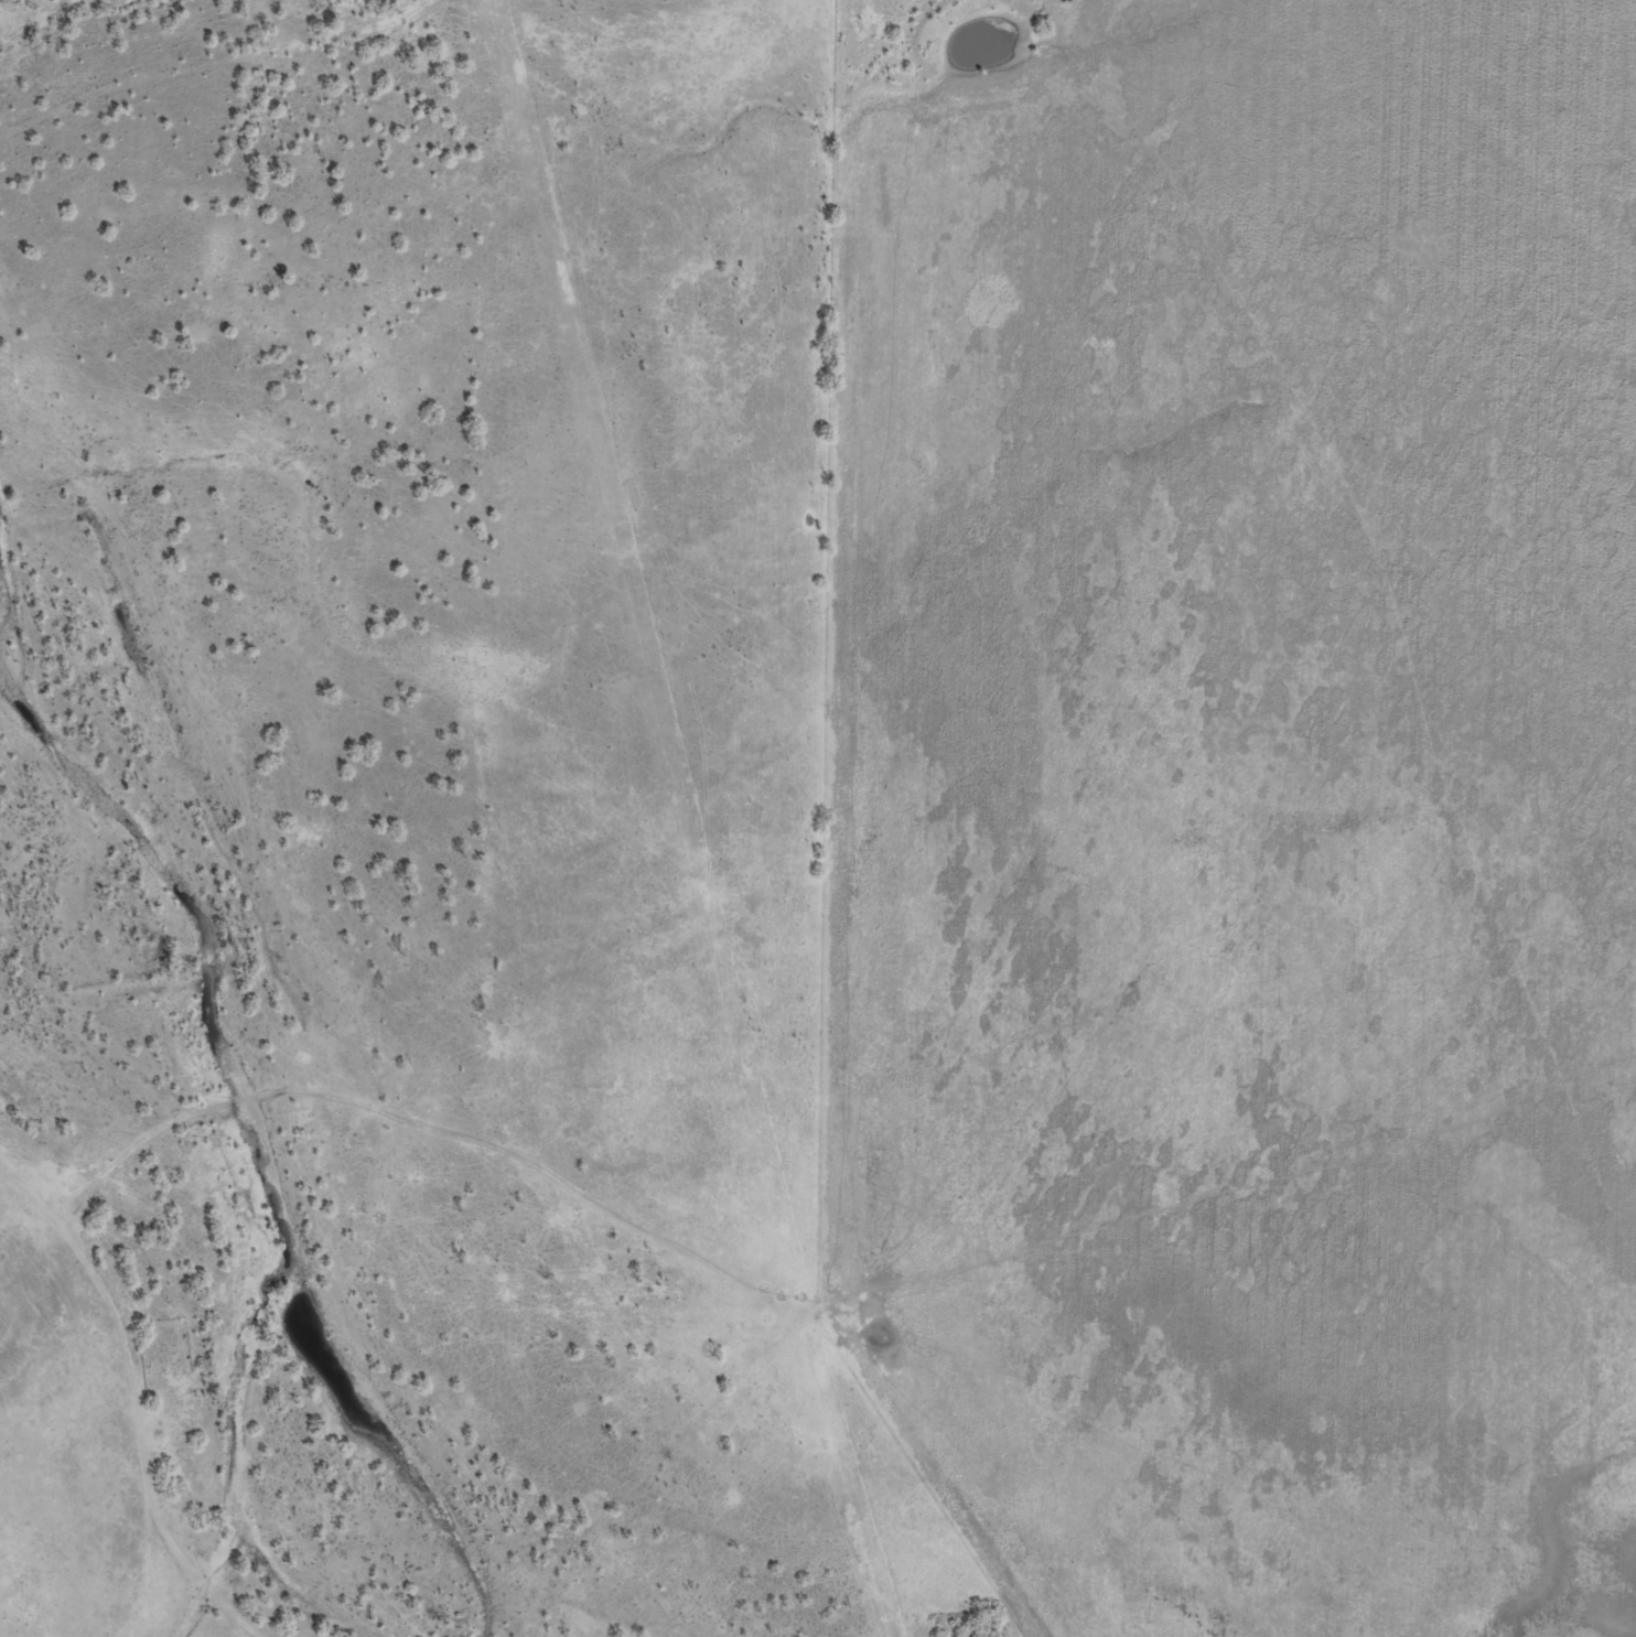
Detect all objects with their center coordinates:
road: (138, 1399)

